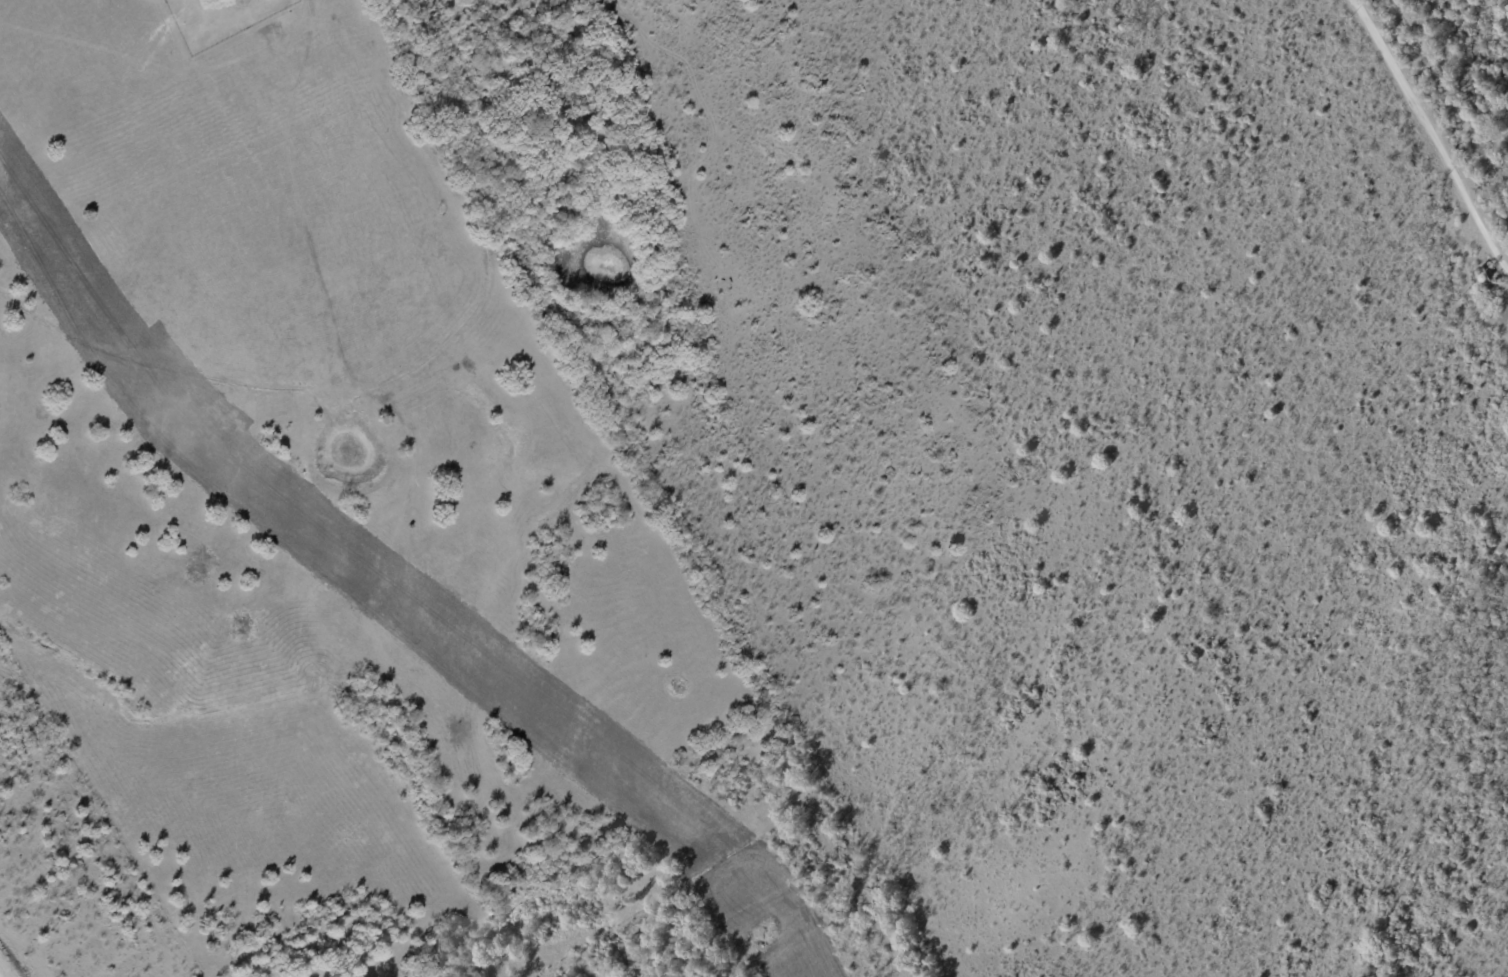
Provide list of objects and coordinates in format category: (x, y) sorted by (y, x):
road: (1434, 125)

